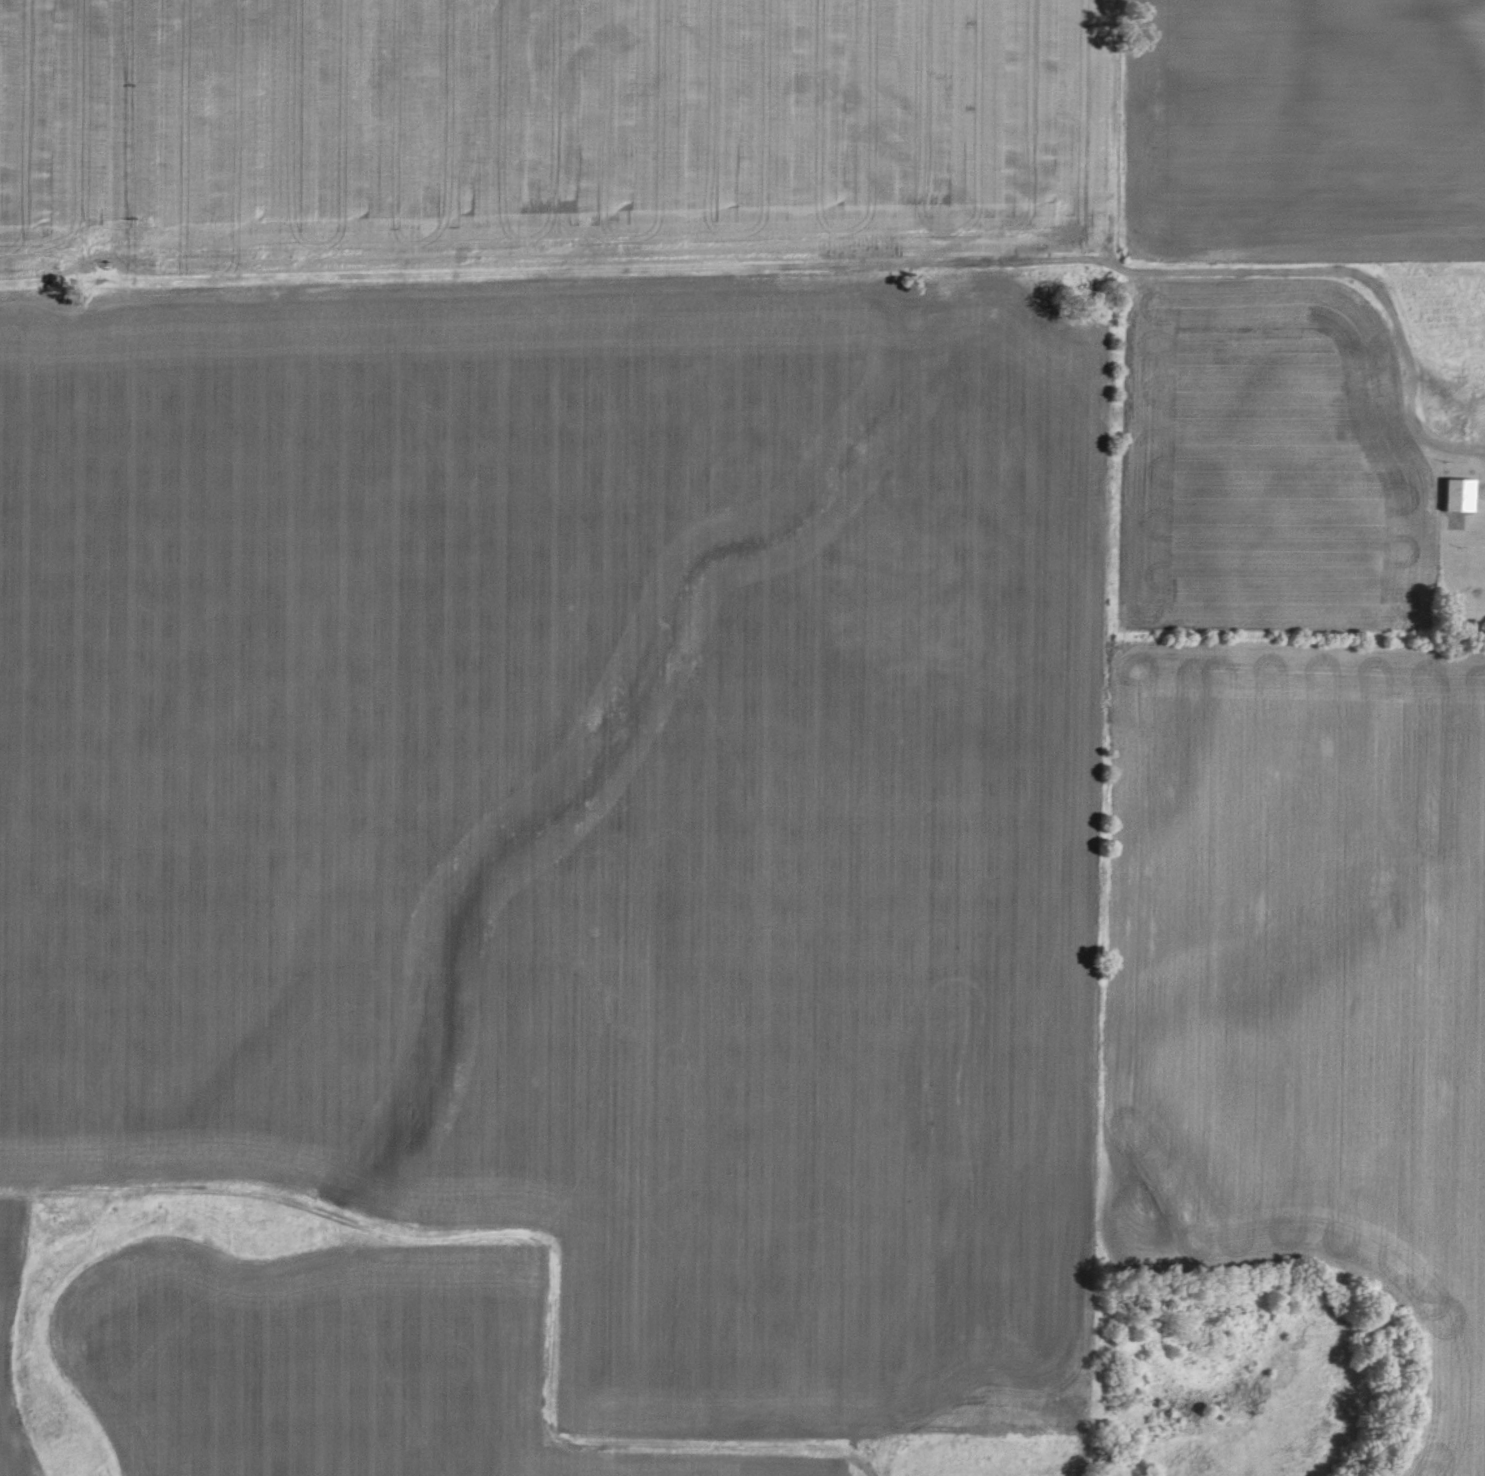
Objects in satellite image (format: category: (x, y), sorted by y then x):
building: (1452, 495)

